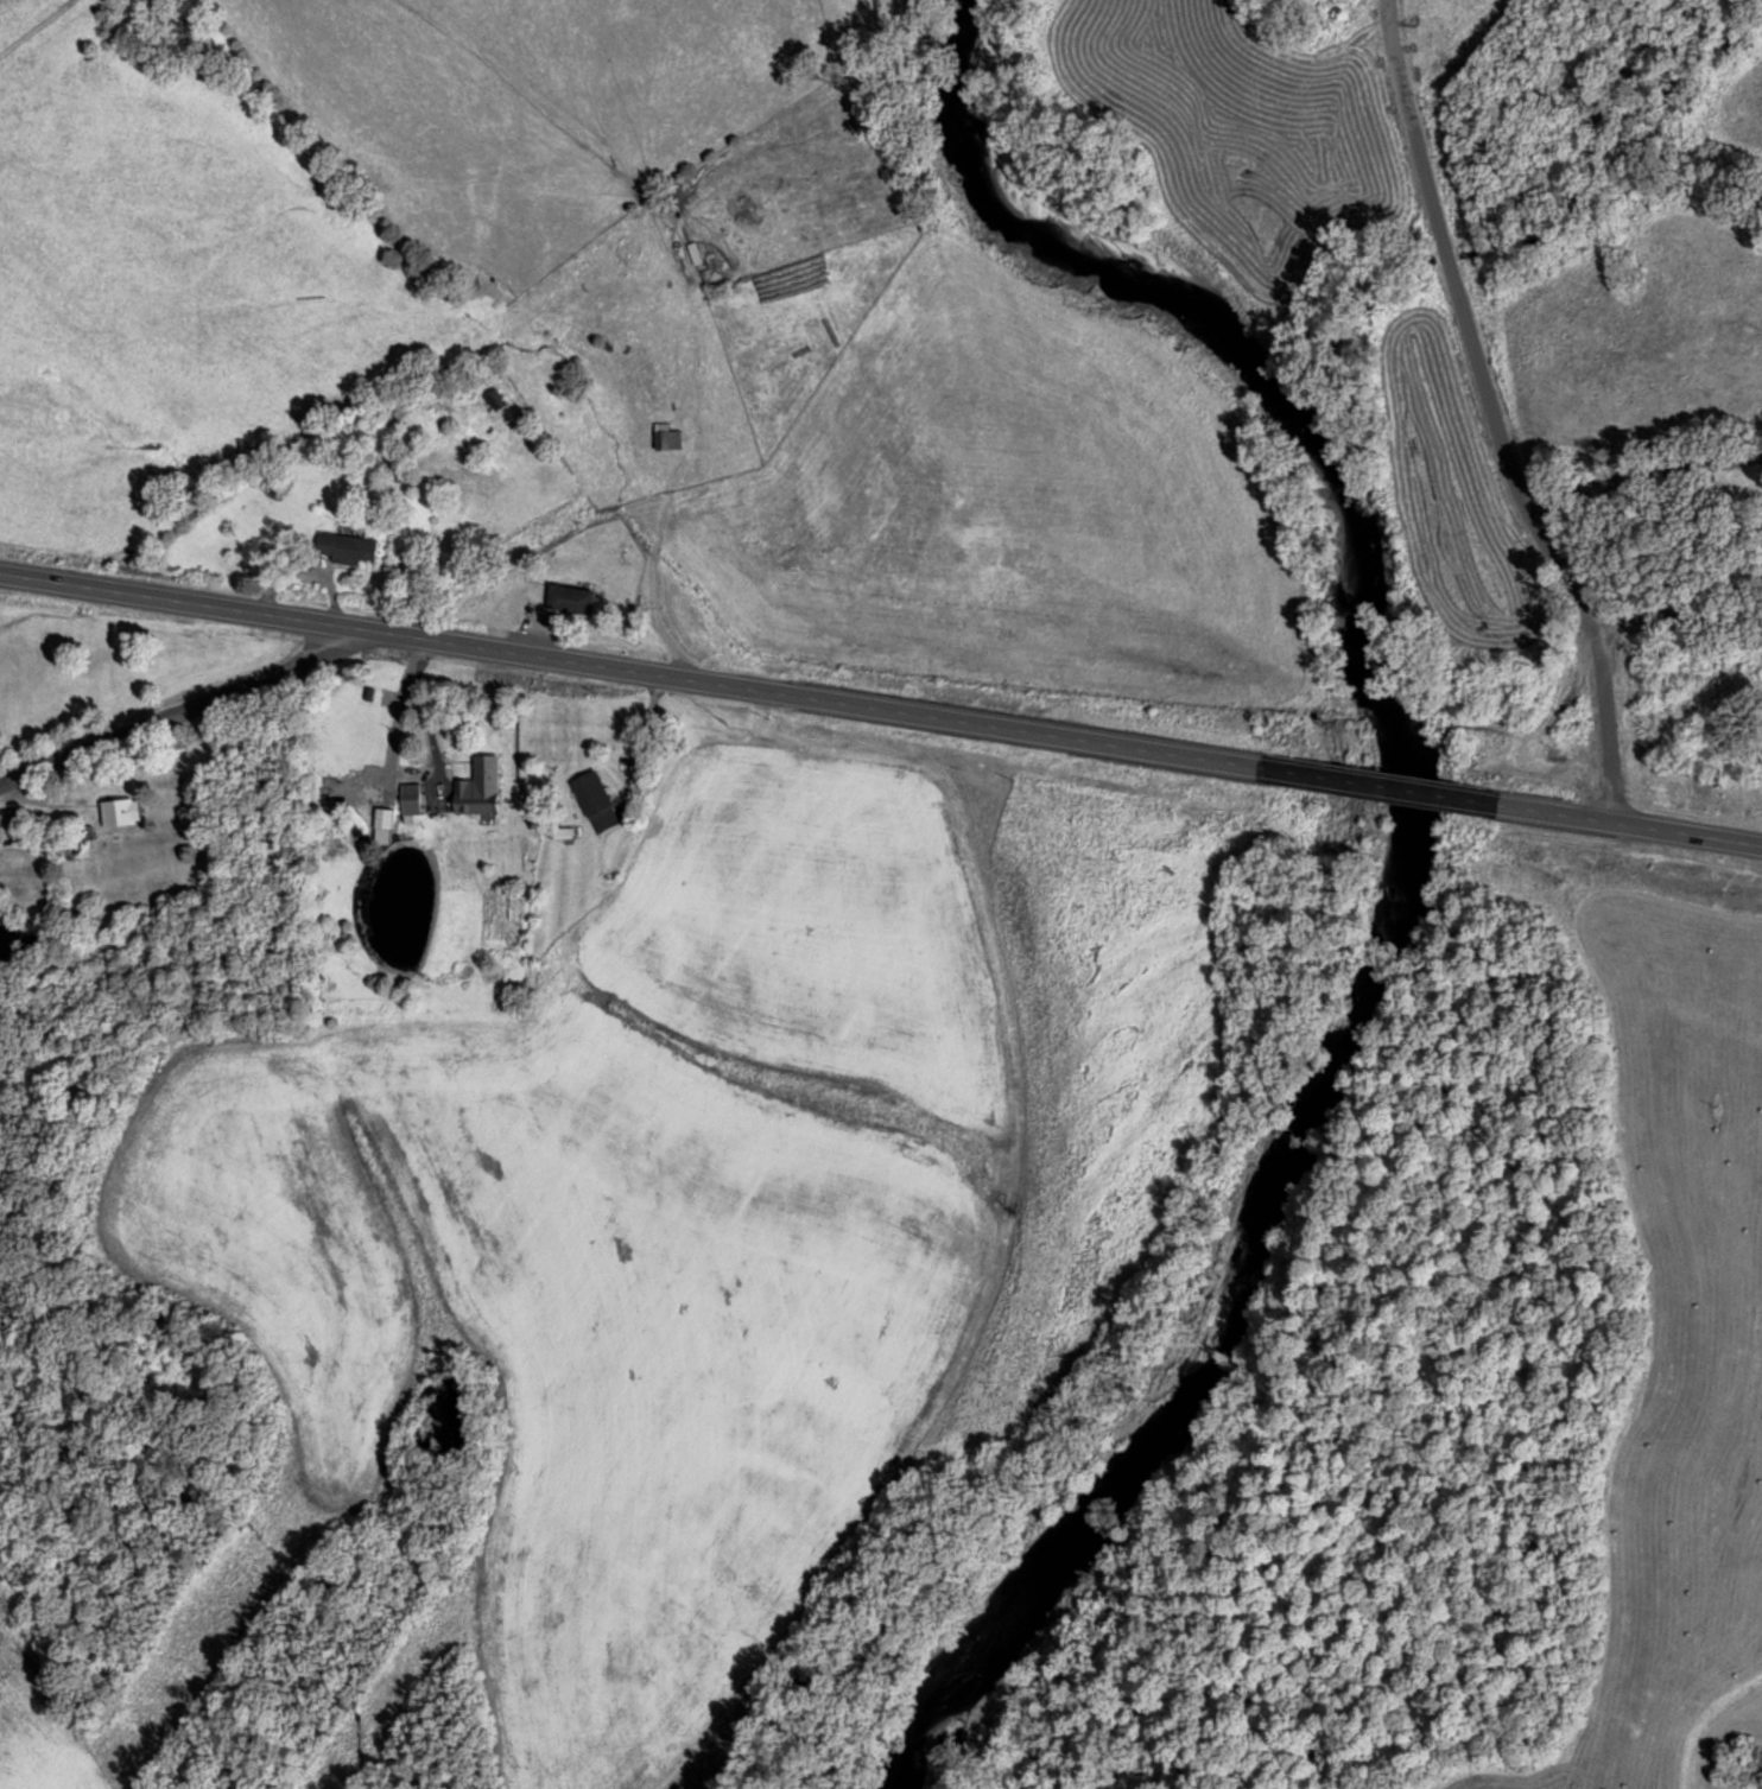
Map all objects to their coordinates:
road: (1446, 253)
building: (493, 397)
building: (664, 436)
road: (1641, 475)
building: (344, 546)
building: (569, 598)
road: (1679, 614)
road: (1598, 651)
road: (633, 668)
road: (175, 711)
road: (1378, 786)
building: (476, 787)
building: (592, 800)
building: (119, 811)
road: (1627, 824)
river: (1401, 868)

